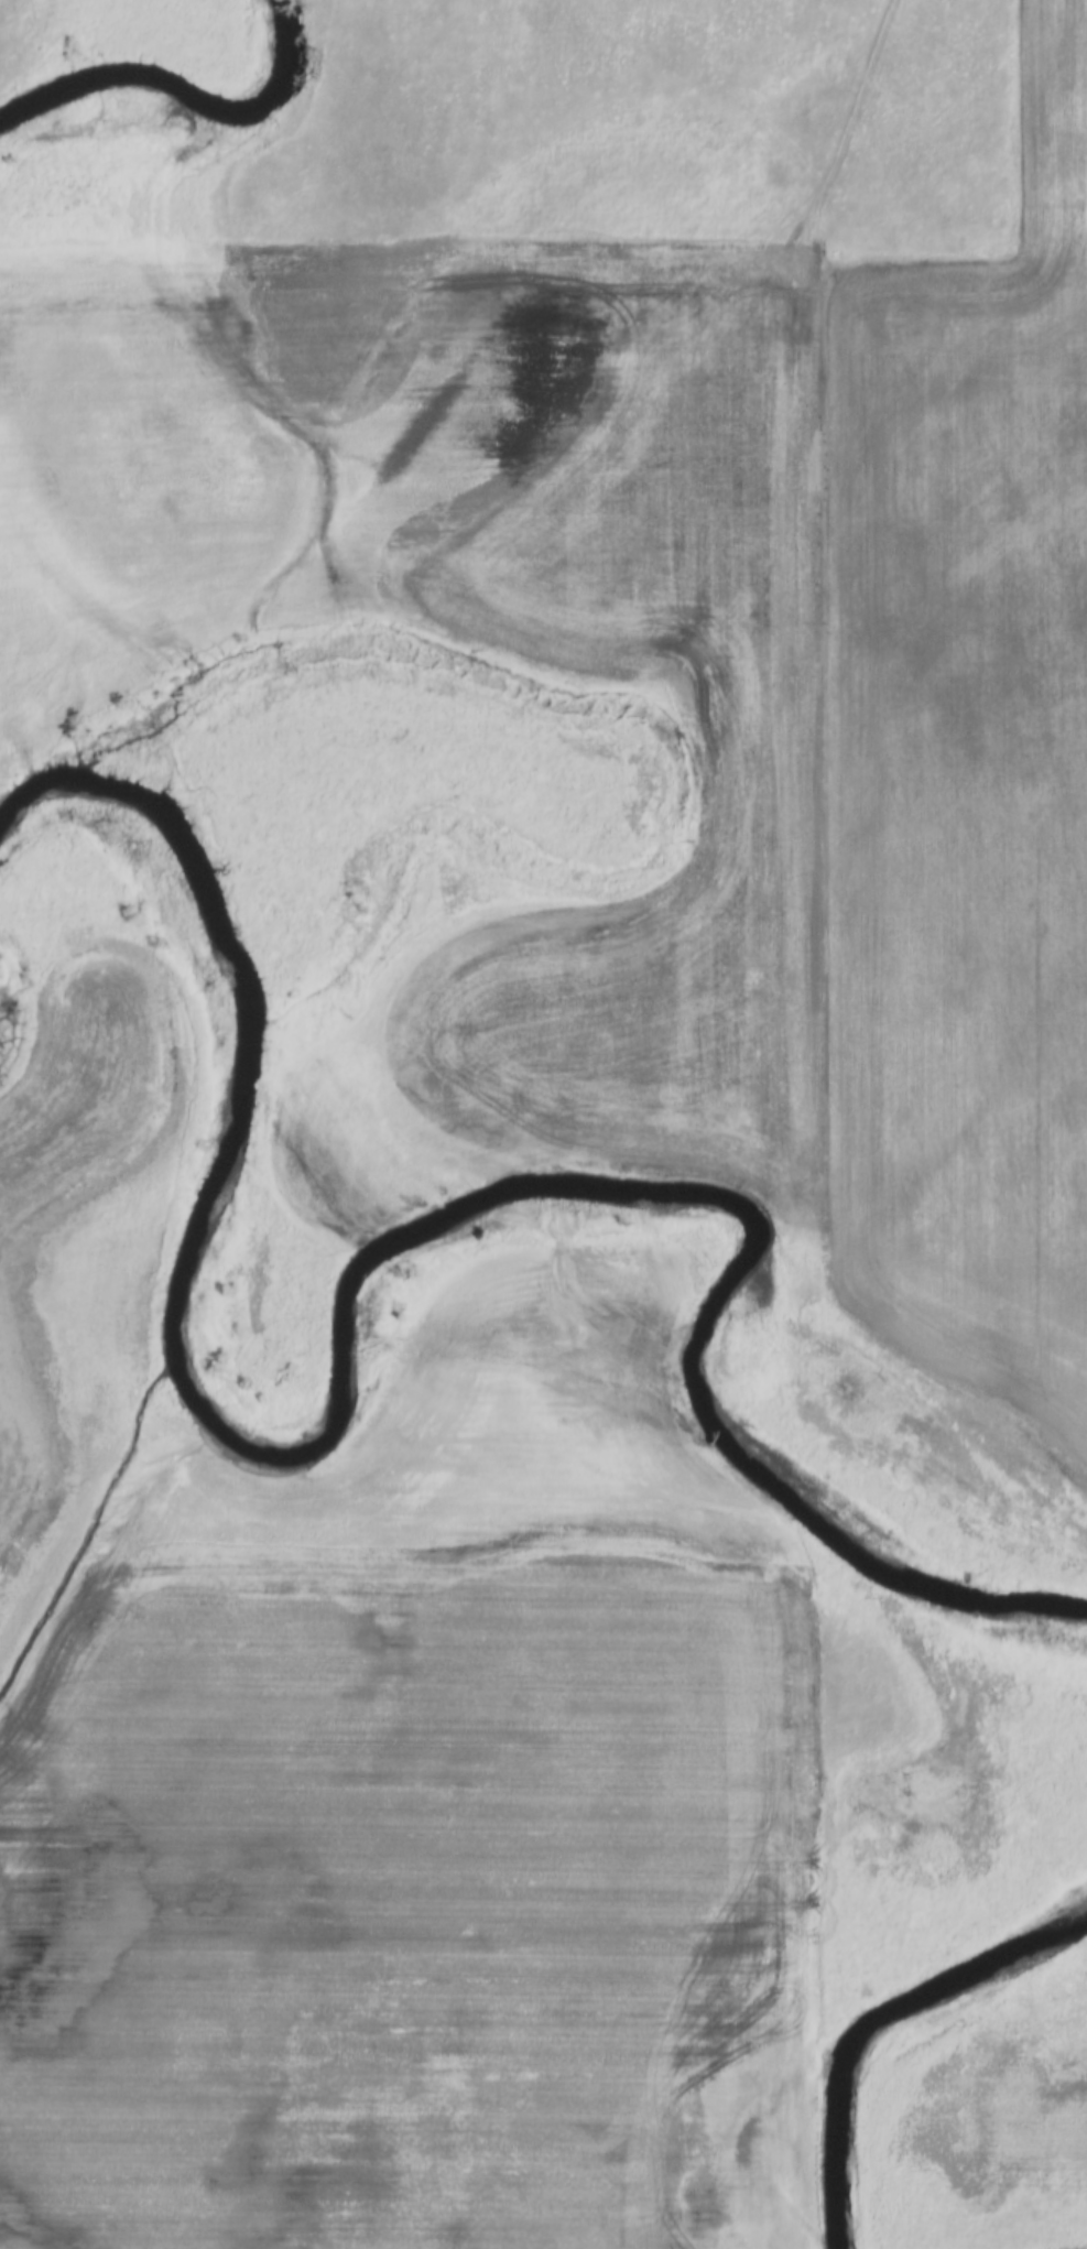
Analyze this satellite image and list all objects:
river: (177, 102)
river: (235, 999)
river: (709, 1206)
river: (861, 2050)

